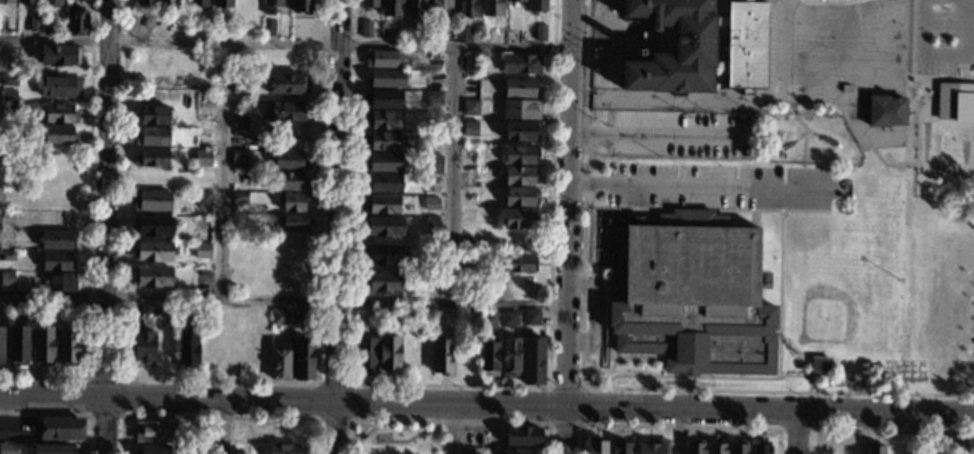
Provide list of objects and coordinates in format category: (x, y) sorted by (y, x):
building: (515, 0)
building: (7, 2)
building: (27, 2)
building: (146, 2)
building: (166, 2)
building: (371, 2)
building: (51, 3)
building: (198, 3)
building: (222, 3)
road: (834, 4)
building: (536, 5)
building: (271, 6)
building: (301, 6)
building: (491, 7)
building: (390, 8)
building: (413, 8)
building: (440, 8)
building: (467, 8)
road: (727, 16)
building: (76, 21)
building: (23, 23)
building: (48, 26)
building: (366, 27)
building: (268, 28)
building: (413, 31)
building: (540, 32)
building: (463, 34)
parking lot: (941, 34)
road: (286, 43)
building: (695, 45)
park: (836, 49)
road: (942, 52)
building: (60, 55)
road: (718, 58)
building: (383, 59)
building: (472, 62)
building: (520, 64)
building: (27, 69)
road: (907, 71)
building: (388, 78)
building: (8, 80)
building: (286, 84)
building: (59, 87)
building: (520, 88)
building: (845, 88)
road: (676, 91)
building: (8, 96)
building: (434, 98)
building: (383, 99)
building: (956, 100)
road: (817, 103)
building: (240, 106)
building: (470, 107)
building: (8, 108)
building: (520, 109)
building: (885, 110)
building: (285, 112)
building: (60, 114)
building: (152, 116)
road: (796, 118)
road: (909, 118)
road: (919, 119)
building: (383, 120)
building: (240, 122)
road: (945, 124)
building: (470, 128)
road: (806, 130)
building: (521, 131)
building: (59, 134)
road: (656, 135)
parking lot: (683, 135)
building: (152, 137)
building: (384, 141)
building: (521, 155)
building: (151, 158)
building: (202, 158)
building: (239, 159)
building: (289, 161)
building: (434, 161)
building: (383, 163)
road: (918, 165)
road: (224, 171)
road: (454, 176)
building: (520, 176)
building: (288, 181)
building: (384, 183)
road: (699, 183)
parking lot: (718, 186)
building: (520, 196)
building: (239, 197)
building: (202, 199)
building: (151, 201)
building: (292, 202)
road: (569, 202)
building: (431, 203)
building: (382, 205)
road: (705, 208)
park: (939, 209)
building: (520, 218)
building: (294, 223)
building: (202, 225)
building: (152, 226)
building: (384, 226)
road: (109, 227)
road: (337, 227)
building: (433, 227)
road: (88, 231)
building: (57, 240)
building: (152, 251)
building: (202, 251)
building: (385, 255)
building: (7, 256)
building: (57, 262)
building: (519, 263)
building: (151, 277)
building: (6, 278)
building: (382, 281)
building: (60, 282)
building: (691, 294)
road: (780, 294)
road: (283, 301)
building: (68, 307)
building: (148, 309)
park: (841, 309)
road: (595, 312)
building: (306, 313)
road: (604, 314)
building: (279, 316)
building: (531, 317)
building: (373, 319)
building: (488, 319)
building: (509, 319)
building: (43, 344)
building: (68, 344)
building: (1, 345)
building: (18, 345)
building: (144, 347)
building: (188, 348)
building: (366, 355)
building: (390, 355)
building: (442, 355)
building: (510, 357)
building: (280, 359)
building: (489, 359)
road: (624, 359)
building: (304, 360)
building: (533, 360)
building: (819, 363)
road: (118, 376)
road: (698, 377)
road: (220, 381)
road: (350, 383)
road: (609, 383)
road: (451, 384)
road: (581, 387)
road: (583, 387)
road: (966, 387)
road: (487, 403)
traffic signals: (566, 404)
road: (64, 412)
road: (217, 414)
road: (448, 421)
road: (678, 425)
road: (219, 426)
road: (814, 427)
road: (450, 428)
building: (61, 429)
road: (565, 429)
road: (680, 430)
road: (881, 430)
building: (153, 432)
road: (800, 433)
road: (911, 434)
building: (522, 435)
road: (395, 440)
building: (653, 446)
building: (596, 447)
building: (620, 447)
building: (694, 447)
building: (737, 447)
building: (969, 447)
building: (760, 448)
building: (8, 449)
building: (54, 449)
building: (154, 449)
building: (284, 449)
building: (716, 449)
building: (466, 450)
building: (875, 450)
building: (519, 451)

